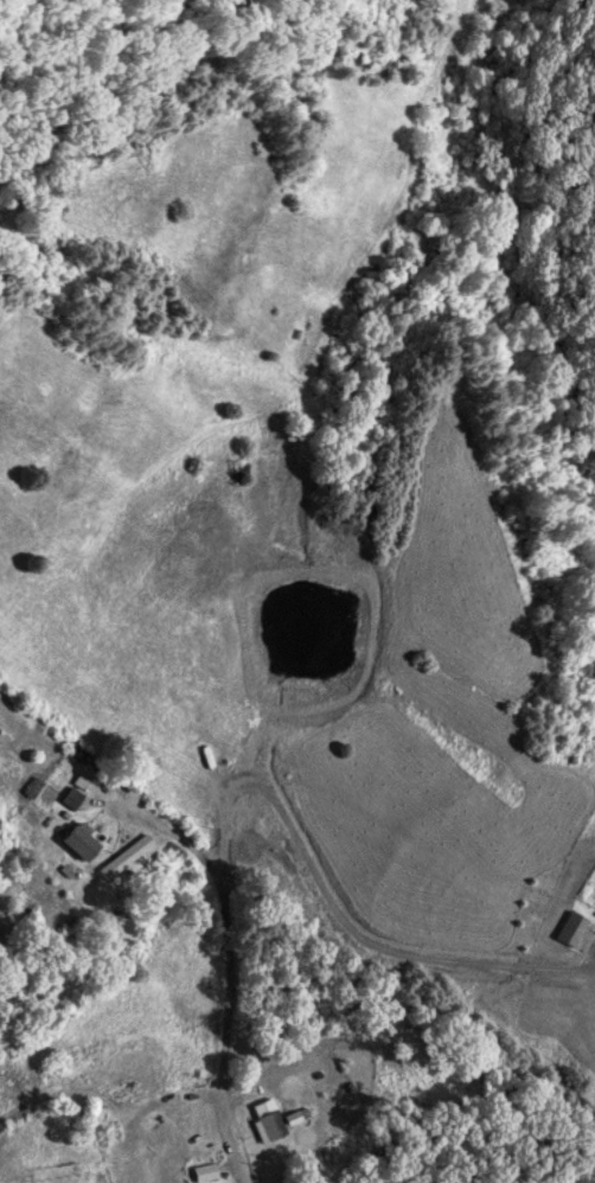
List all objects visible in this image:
building: (32, 787)
building: (70, 799)
building: (78, 842)
road: (267, 1121)
building: (270, 1125)
building: (204, 1174)

